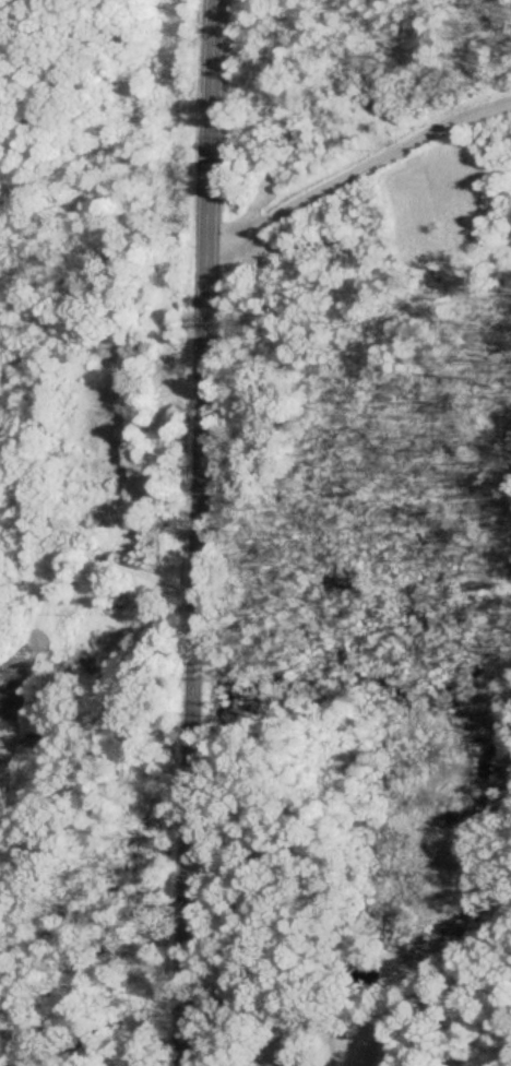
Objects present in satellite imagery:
road: (190, 533)

